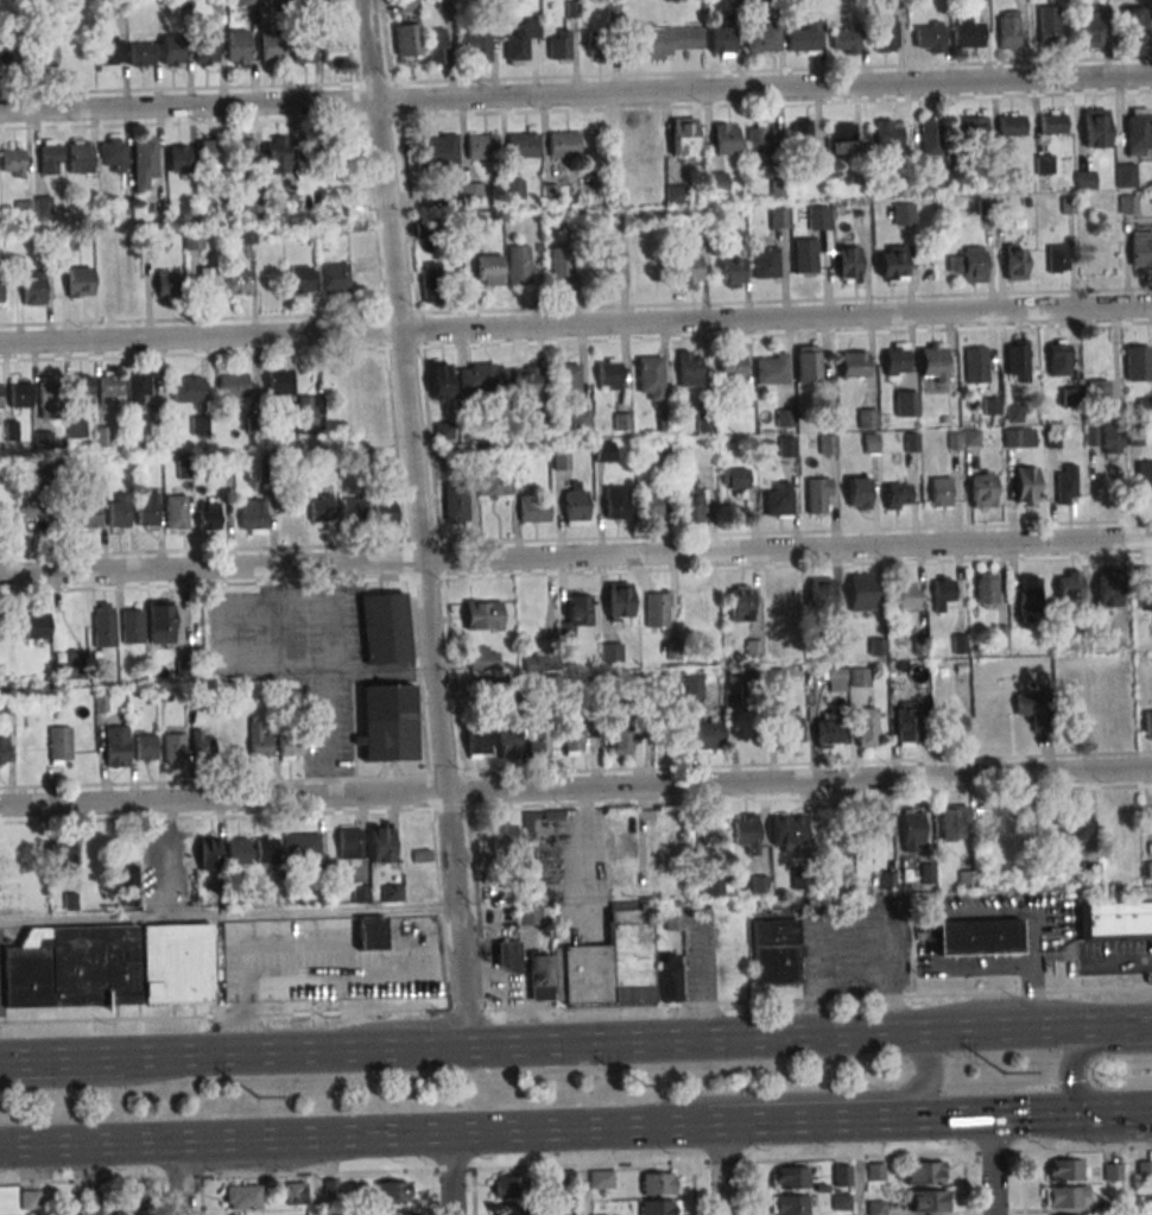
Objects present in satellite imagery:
building: (277, 1)
building: (308, 1)
building: (246, 2)
building: (407, 5)
building: (1049, 24)
building: (1133, 25)
building: (1008, 30)
building: (1091, 30)
building: (967, 31)
building: (884, 32)
building: (805, 34)
building: (929, 37)
building: (761, 38)
building: (519, 39)
building: (721, 39)
building: (846, 39)
building: (665, 40)
building: (406, 42)
building: (558, 44)
building: (238, 46)
building: (599, 46)
building: (437, 48)
building: (475, 48)
building: (205, 49)
building: (270, 49)
building: (172, 50)
building: (303, 51)
building: (45, 52)
building: (331, 52)
building: (108, 55)
building: (141, 55)
road: (576, 100)
building: (1052, 121)
building: (1011, 124)
building: (973, 126)
building: (1095, 127)
building: (1137, 131)
building: (800, 133)
building: (888, 134)
building: (683, 137)
building: (931, 138)
building: (726, 139)
building: (842, 139)
building: (563, 144)
building: (759, 144)
building: (481, 146)
building: (523, 147)
building: (438, 148)
building: (243, 152)
building: (112, 154)
building: (276, 154)
building: (80, 156)
building: (211, 156)
building: (49, 157)
building: (179, 158)
building: (143, 160)
building: (12, 163)
building: (1044, 164)
building: (1125, 175)
building: (1084, 179)
building: (716, 183)
building: (513, 189)
building: (470, 191)
building: (679, 191)
building: (553, 194)
building: (1127, 203)
building: (43, 205)
building: (23, 209)
building: (903, 214)
building: (778, 217)
building: (817, 217)
building: (471, 222)
building: (245, 234)
building: (194, 240)
building: (1140, 248)
building: (805, 254)
building: (1057, 258)
building: (765, 260)
building: (1014, 261)
building: (848, 264)
building: (892, 264)
building: (969, 264)
building: (518, 265)
building: (559, 267)
building: (488, 270)
building: (688, 271)
building: (732, 271)
building: (645, 273)
building: (331, 278)
building: (299, 279)
building: (430, 280)
building: (601, 280)
building: (80, 281)
building: (208, 281)
building: (166, 283)
building: (239, 284)
building: (32, 287)
building: (0, 290)
road: (576, 329)
building: (895, 359)
building: (1058, 359)
building: (1017, 360)
building: (932, 361)
building: (1138, 362)
building: (806, 363)
building: (856, 363)
building: (976, 365)
building: (689, 368)
building: (732, 368)
building: (771, 368)
building: (608, 374)
building: (481, 378)
building: (650, 378)
building: (277, 379)
building: (568, 379)
building: (439, 380)
building: (525, 381)
building: (233, 385)
building: (109, 387)
building: (137, 387)
building: (186, 388)
building: (81, 390)
building: (1097, 392)
building: (19, 394)
building: (0, 395)
building: (48, 397)
building: (905, 403)
building: (1145, 406)
building: (309, 415)
building: (785, 417)
building: (866, 418)
building: (581, 419)
building: (198, 425)
building: (76, 429)
building: (1012, 437)
building: (1109, 438)
building: (43, 439)
building: (828, 444)
building: (787, 445)
building: (663, 449)
building: (602, 451)
building: (702, 456)
building: (183, 470)
building: (1144, 477)
building: (736, 480)
building: (1065, 483)
building: (492, 485)
building: (1026, 485)
building: (981, 488)
building: (939, 492)
building: (857, 493)
building: (818, 495)
building: (895, 495)
building: (777, 499)
building: (615, 501)
building: (455, 504)
building: (575, 504)
building: (648, 504)
building: (690, 505)
building: (321, 507)
building: (386, 507)
building: (356, 508)
building: (533, 508)
building: (118, 510)
building: (147, 510)
building: (176, 512)
building: (89, 514)
building: (30, 517)
building: (252, 517)
building: (208, 519)
road: (416, 523)
road: (576, 561)
building: (1068, 586)
building: (1107, 586)
building: (1144, 588)
building: (985, 589)
building: (942, 590)
building: (861, 591)
building: (819, 594)
building: (906, 594)
building: (740, 596)
building: (1027, 596)
building: (618, 600)
building: (657, 608)
road: (328, 614)
building: (482, 614)
building: (575, 615)
building: (160, 621)
building: (36, 624)
building: (103, 626)
building: (132, 626)
building: (384, 627)
road: (267, 650)
building: (610, 652)
building: (482, 658)
building: (539, 662)
building: (69, 666)
building: (860, 677)
building: (835, 679)
road: (328, 682)
building: (692, 685)
building: (1031, 709)
building: (387, 723)
building: (905, 723)
building: (952, 723)
building: (1147, 723)
building: (789, 726)
building: (866, 726)
building: (748, 727)
building: (827, 730)
building: (707, 735)
building: (619, 739)
building: (571, 740)
building: (259, 741)
building: (290, 741)
building: (476, 742)
building: (507, 742)
building: (538, 743)
building: (59, 745)
building: (115, 746)
building: (173, 746)
building: (202, 746)
building: (145, 747)
building: (4, 748)
road: (576, 790)
building: (1075, 820)
building: (951, 823)
building: (875, 824)
building: (910, 830)
building: (746, 831)
building: (500, 833)
building: (787, 833)
building: (348, 842)
building: (302, 843)
building: (379, 843)
building: (266, 848)
building: (240, 850)
road: (586, 852)
building: (208, 853)
building: (61, 858)
building: (1148, 869)
building: (715, 881)
building: (127, 884)
road: (227, 913)
building: (533, 915)
building: (1116, 920)
building: (369, 934)
building: (977, 937)
building: (773, 948)
building: (507, 957)
building: (108, 966)
building: (607, 966)
road: (849, 979)
road: (576, 1006)
road: (1122, 1024)
road: (998, 1029)
road: (899, 1032)
road: (681, 1038)
road: (293, 1051)
road: (91, 1057)
road: (31, 1058)
road: (1069, 1067)
power tower: (1005, 1075)
road: (91, 1081)
power tower: (639, 1088)
road: (805, 1096)
power tower: (258, 1100)
road: (1118, 1112)
traffic signals: (1084, 1113)
road: (983, 1116)
road: (783, 1122)
road: (341, 1137)
road: (575, 1165)
road: (992, 1165)
road: (721, 1169)
building: (1065, 1170)
building: (1112, 1171)
building: (923, 1172)
road: (451, 1173)
building: (841, 1175)
building: (790, 1177)
road: (179, 1178)
building: (600, 1178)
building: (659, 1183)
building: (508, 1186)
building: (296, 1192)
building: (394, 1192)
building: (1066, 1196)
building: (242, 1197)
building: (30, 1200)
building: (1146, 1200)
building: (929, 1202)
building: (789, 1204)
building: (658, 1207)
building: (509, 1210)
building: (394, 1213)
building: (126, 1214)

